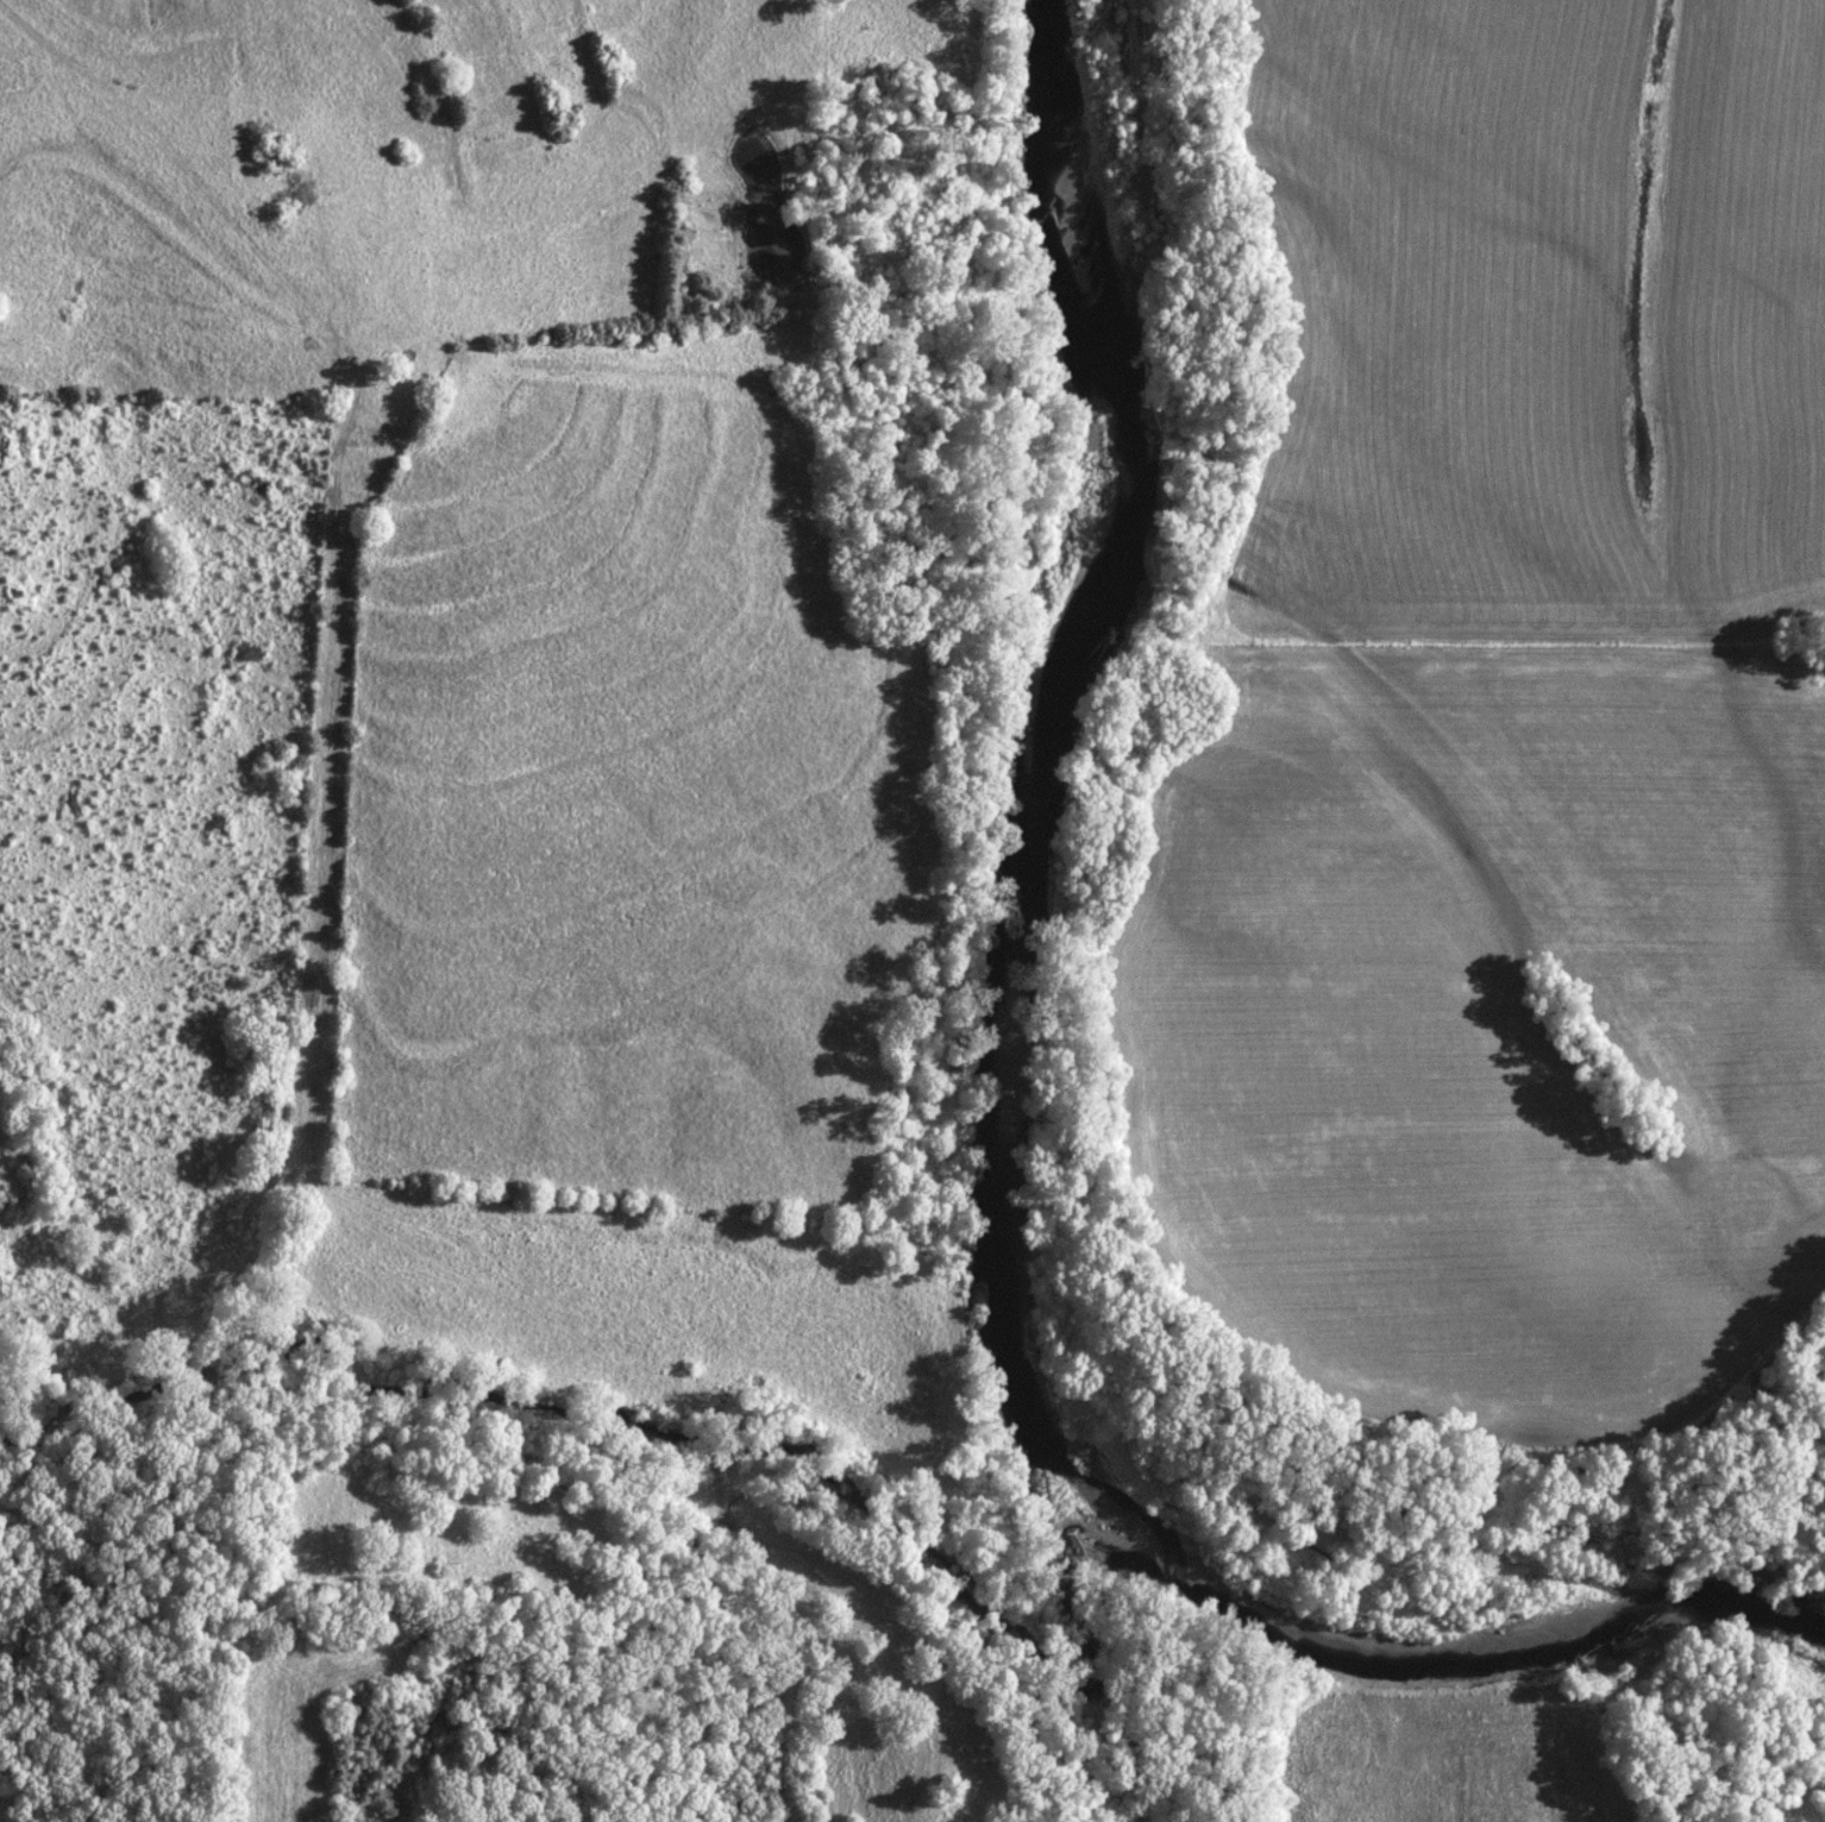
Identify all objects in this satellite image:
crop: (1529, 319)
crop: (1476, 1019)
river: (1002, 1143)

